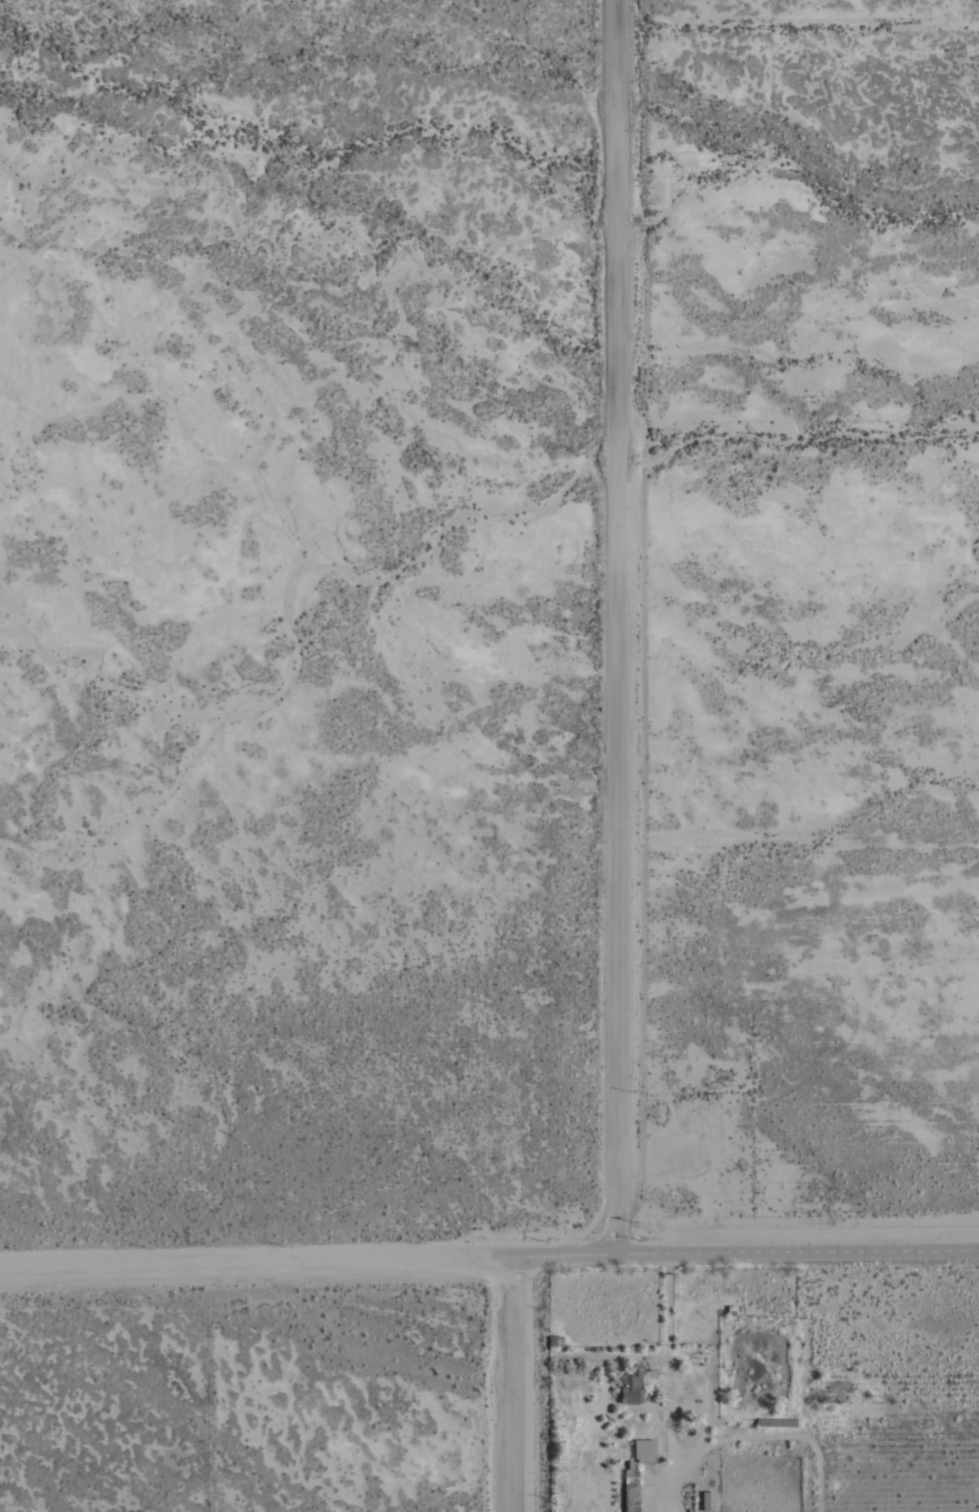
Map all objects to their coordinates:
road: (618, 627)
road: (489, 1254)
building: (554, 1342)
road: (517, 1383)
building: (631, 1386)
building: (777, 1423)
building: (648, 1428)
building: (644, 1451)
building: (631, 1477)
building: (631, 1498)
building: (707, 1502)

